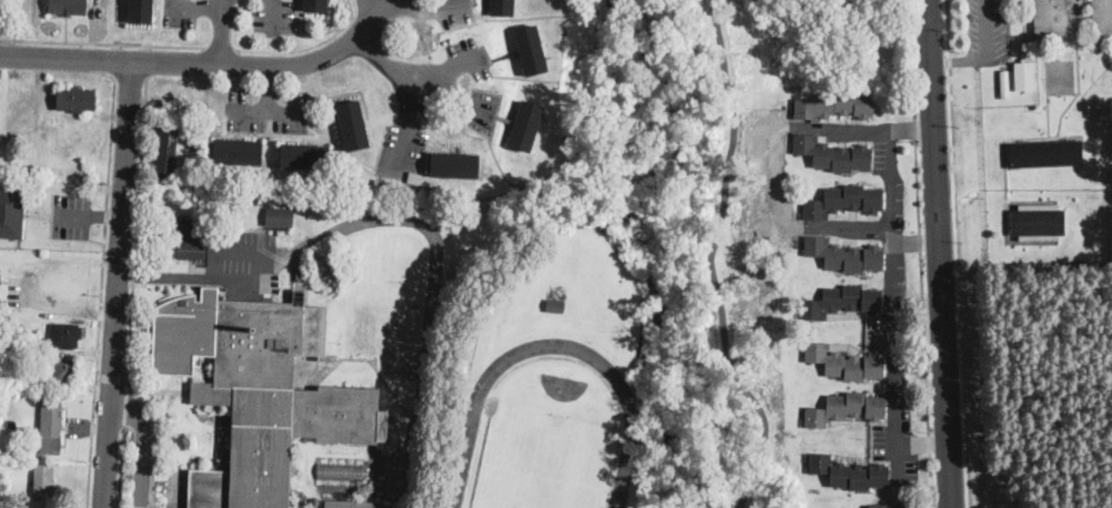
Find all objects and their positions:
building: (316, 4)
road: (194, 6)
building: (68, 7)
building: (503, 8)
road: (427, 9)
building: (141, 11)
road: (274, 14)
building: (1102, 16)
building: (1051, 17)
road: (984, 29)
parking lot: (985, 30)
road: (222, 31)
road: (101, 42)
road: (219, 47)
road: (290, 50)
building: (532, 51)
road: (112, 59)
road: (958, 59)
road: (145, 60)
road: (205, 62)
road: (387, 62)
road: (447, 68)
building: (1023, 74)
road: (129, 75)
building: (1004, 83)
road: (271, 88)
road: (447, 92)
building: (75, 98)
building: (836, 104)
road: (479, 108)
road: (270, 110)
building: (352, 125)
building: (526, 126)
building: (183, 128)
road: (404, 130)
building: (198, 142)
building: (166, 152)
building: (237, 152)
building: (1044, 154)
building: (833, 155)
building: (305, 158)
building: (454, 165)
road: (140, 171)
building: (338, 179)
road: (893, 181)
building: (362, 187)
building: (843, 201)
building: (11, 214)
road: (73, 214)
building: (244, 215)
road: (107, 216)
building: (280, 217)
building: (1038, 222)
building: (192, 227)
road: (831, 228)
road: (916, 241)
building: (191, 251)
road: (919, 254)
road: (939, 254)
road: (959, 254)
building: (845, 256)
road: (712, 258)
road: (133, 274)
road: (185, 275)
building: (0, 277)
road: (119, 283)
road: (100, 288)
building: (842, 301)
road: (65, 306)
building: (557, 306)
building: (67, 335)
building: (846, 363)
building: (65, 370)
road: (110, 376)
building: (257, 389)
road: (137, 395)
road: (125, 403)
building: (847, 408)
building: (51, 426)
road: (923, 445)
road: (141, 446)
road: (121, 467)
building: (343, 471)
building: (850, 474)
building: (44, 480)
building: (353, 505)
building: (889, 506)

